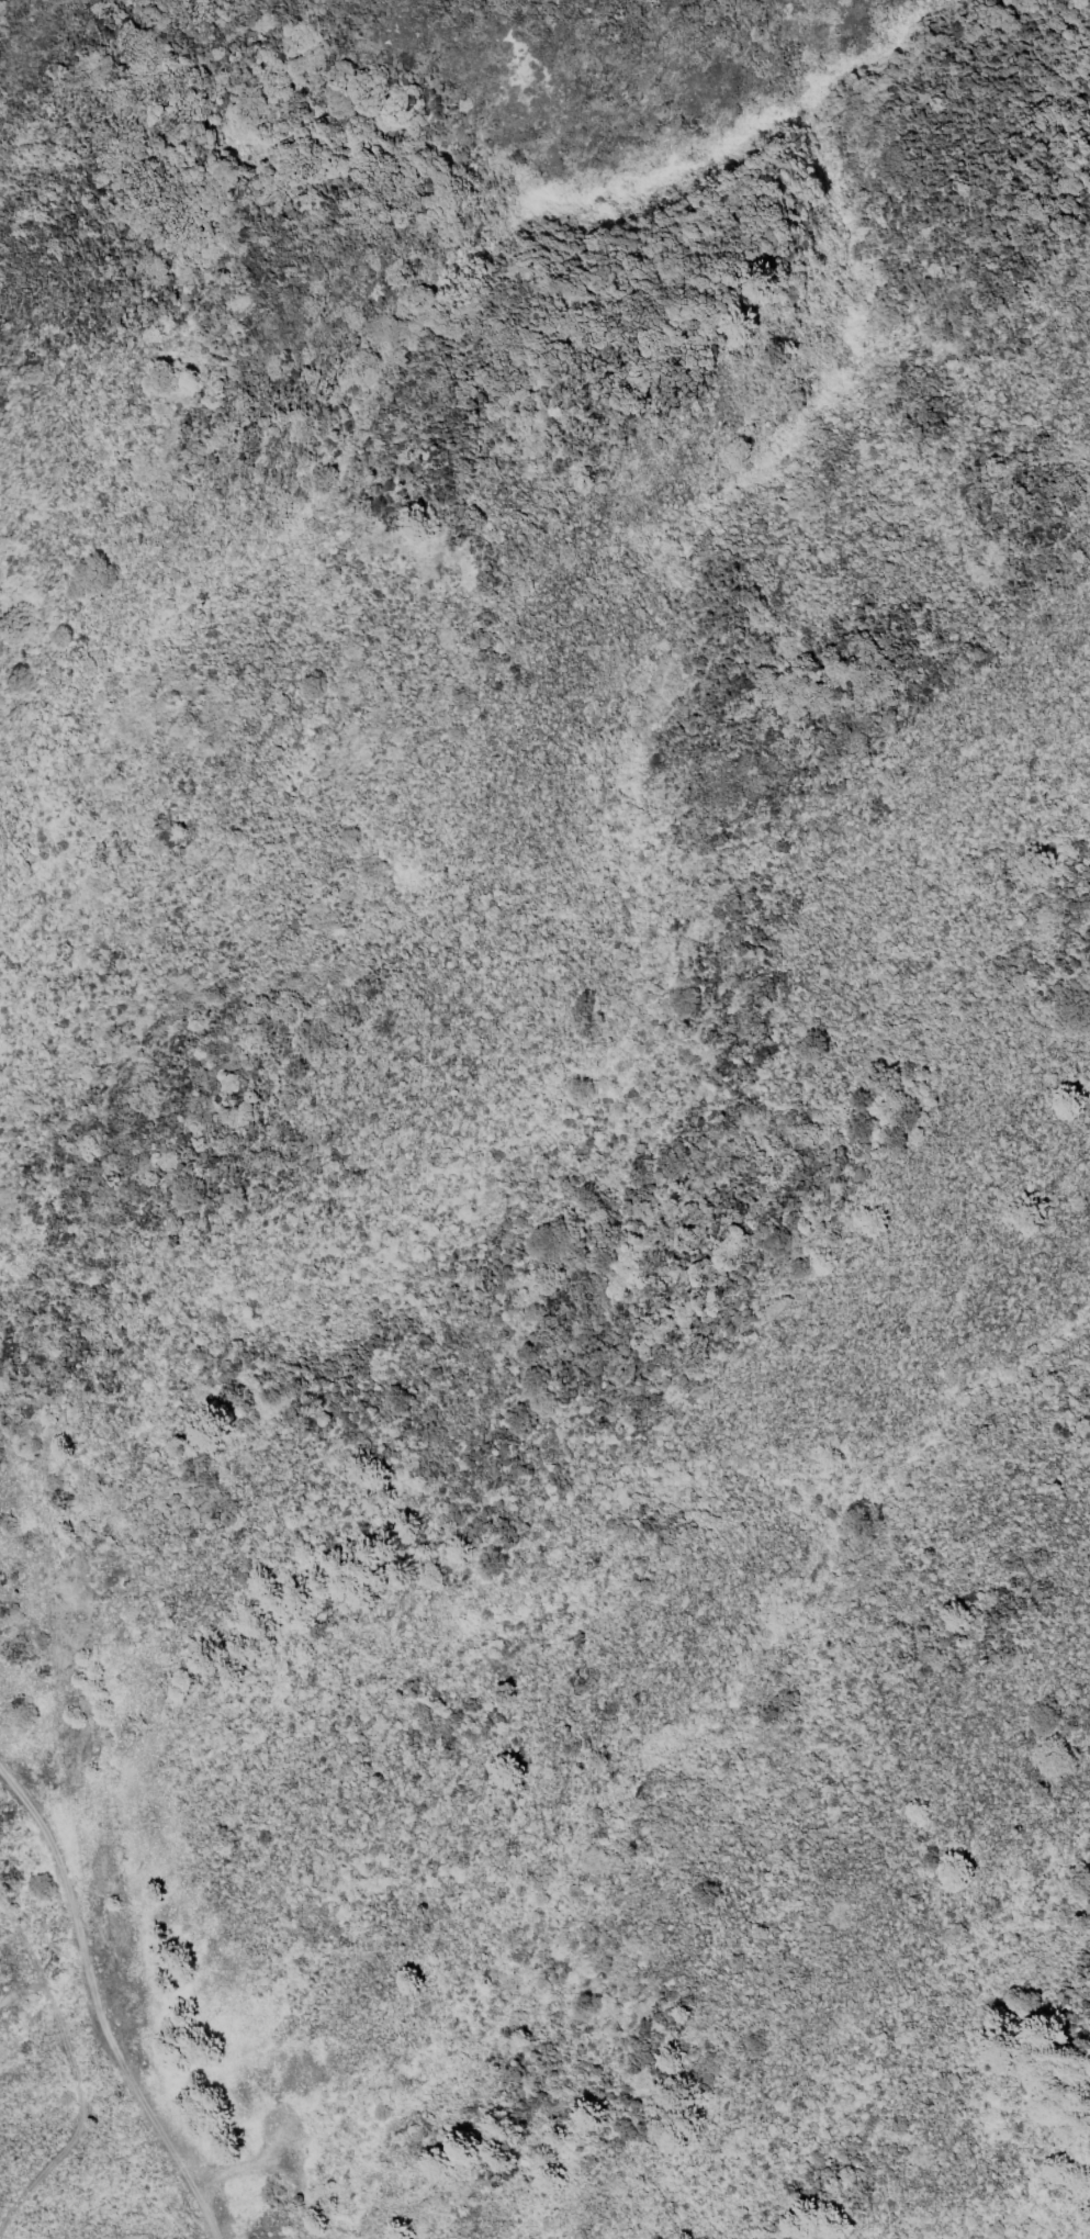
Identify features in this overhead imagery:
road: (95, 2006)

